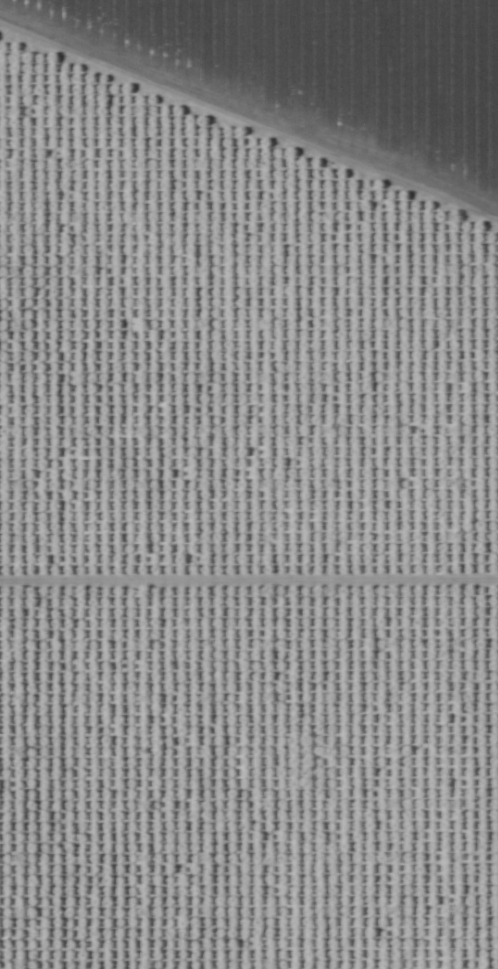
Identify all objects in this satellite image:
crop: (249, 484)

